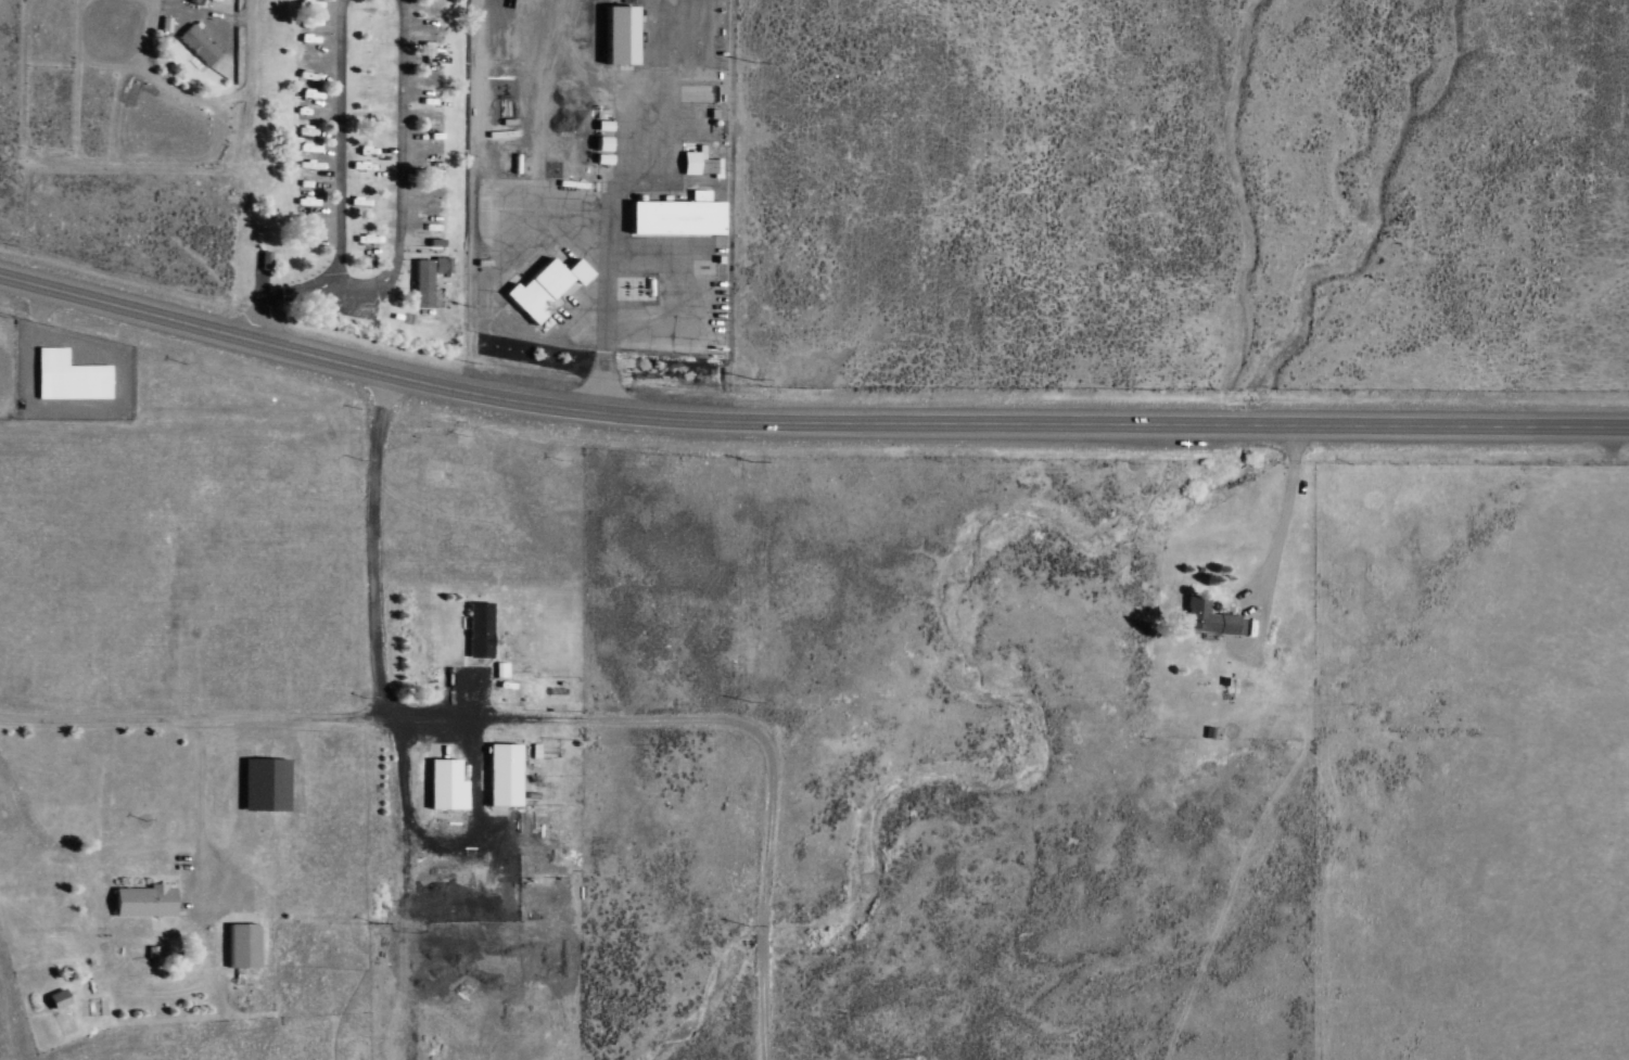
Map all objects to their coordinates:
building: (621, 33)
building: (199, 43)
building: (677, 215)
building: (265, 258)
building: (442, 264)
building: (422, 282)
building: (546, 285)
building: (68, 376)
road: (610, 414)
road: (1431, 424)
building: (1207, 618)
building: (479, 628)
building: (504, 774)
building: (266, 783)
building: (446, 784)
building: (144, 901)
road: (52, 935)
building: (243, 945)
building: (58, 998)

